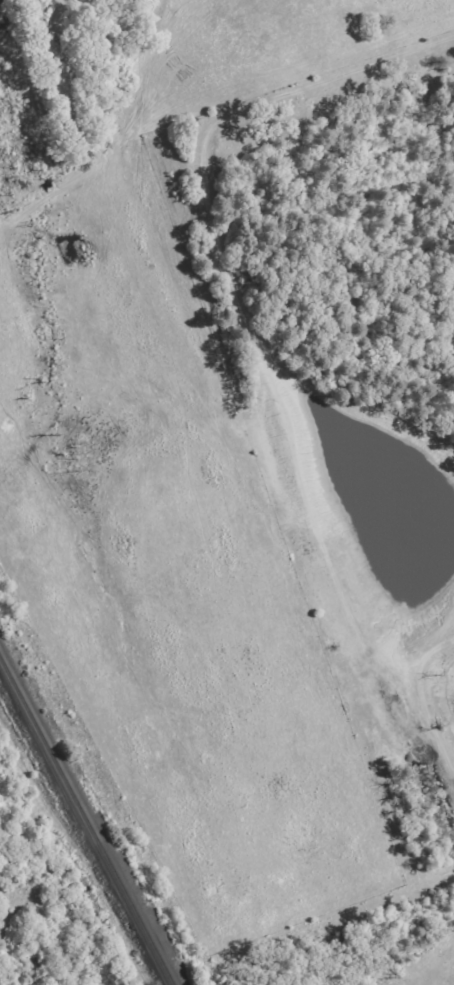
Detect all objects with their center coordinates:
railway: (84, 826)

